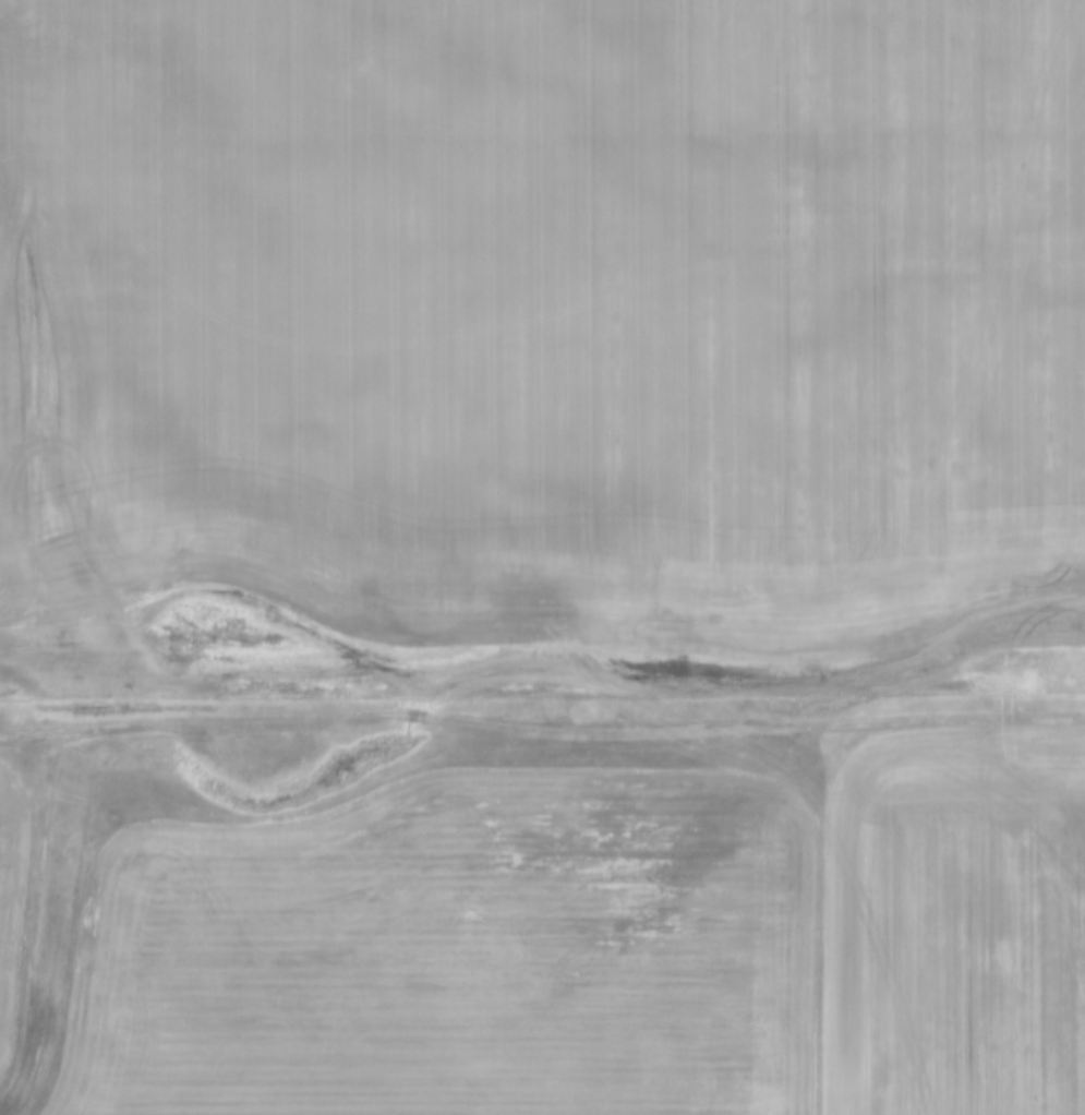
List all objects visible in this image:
road: (542, 726)

